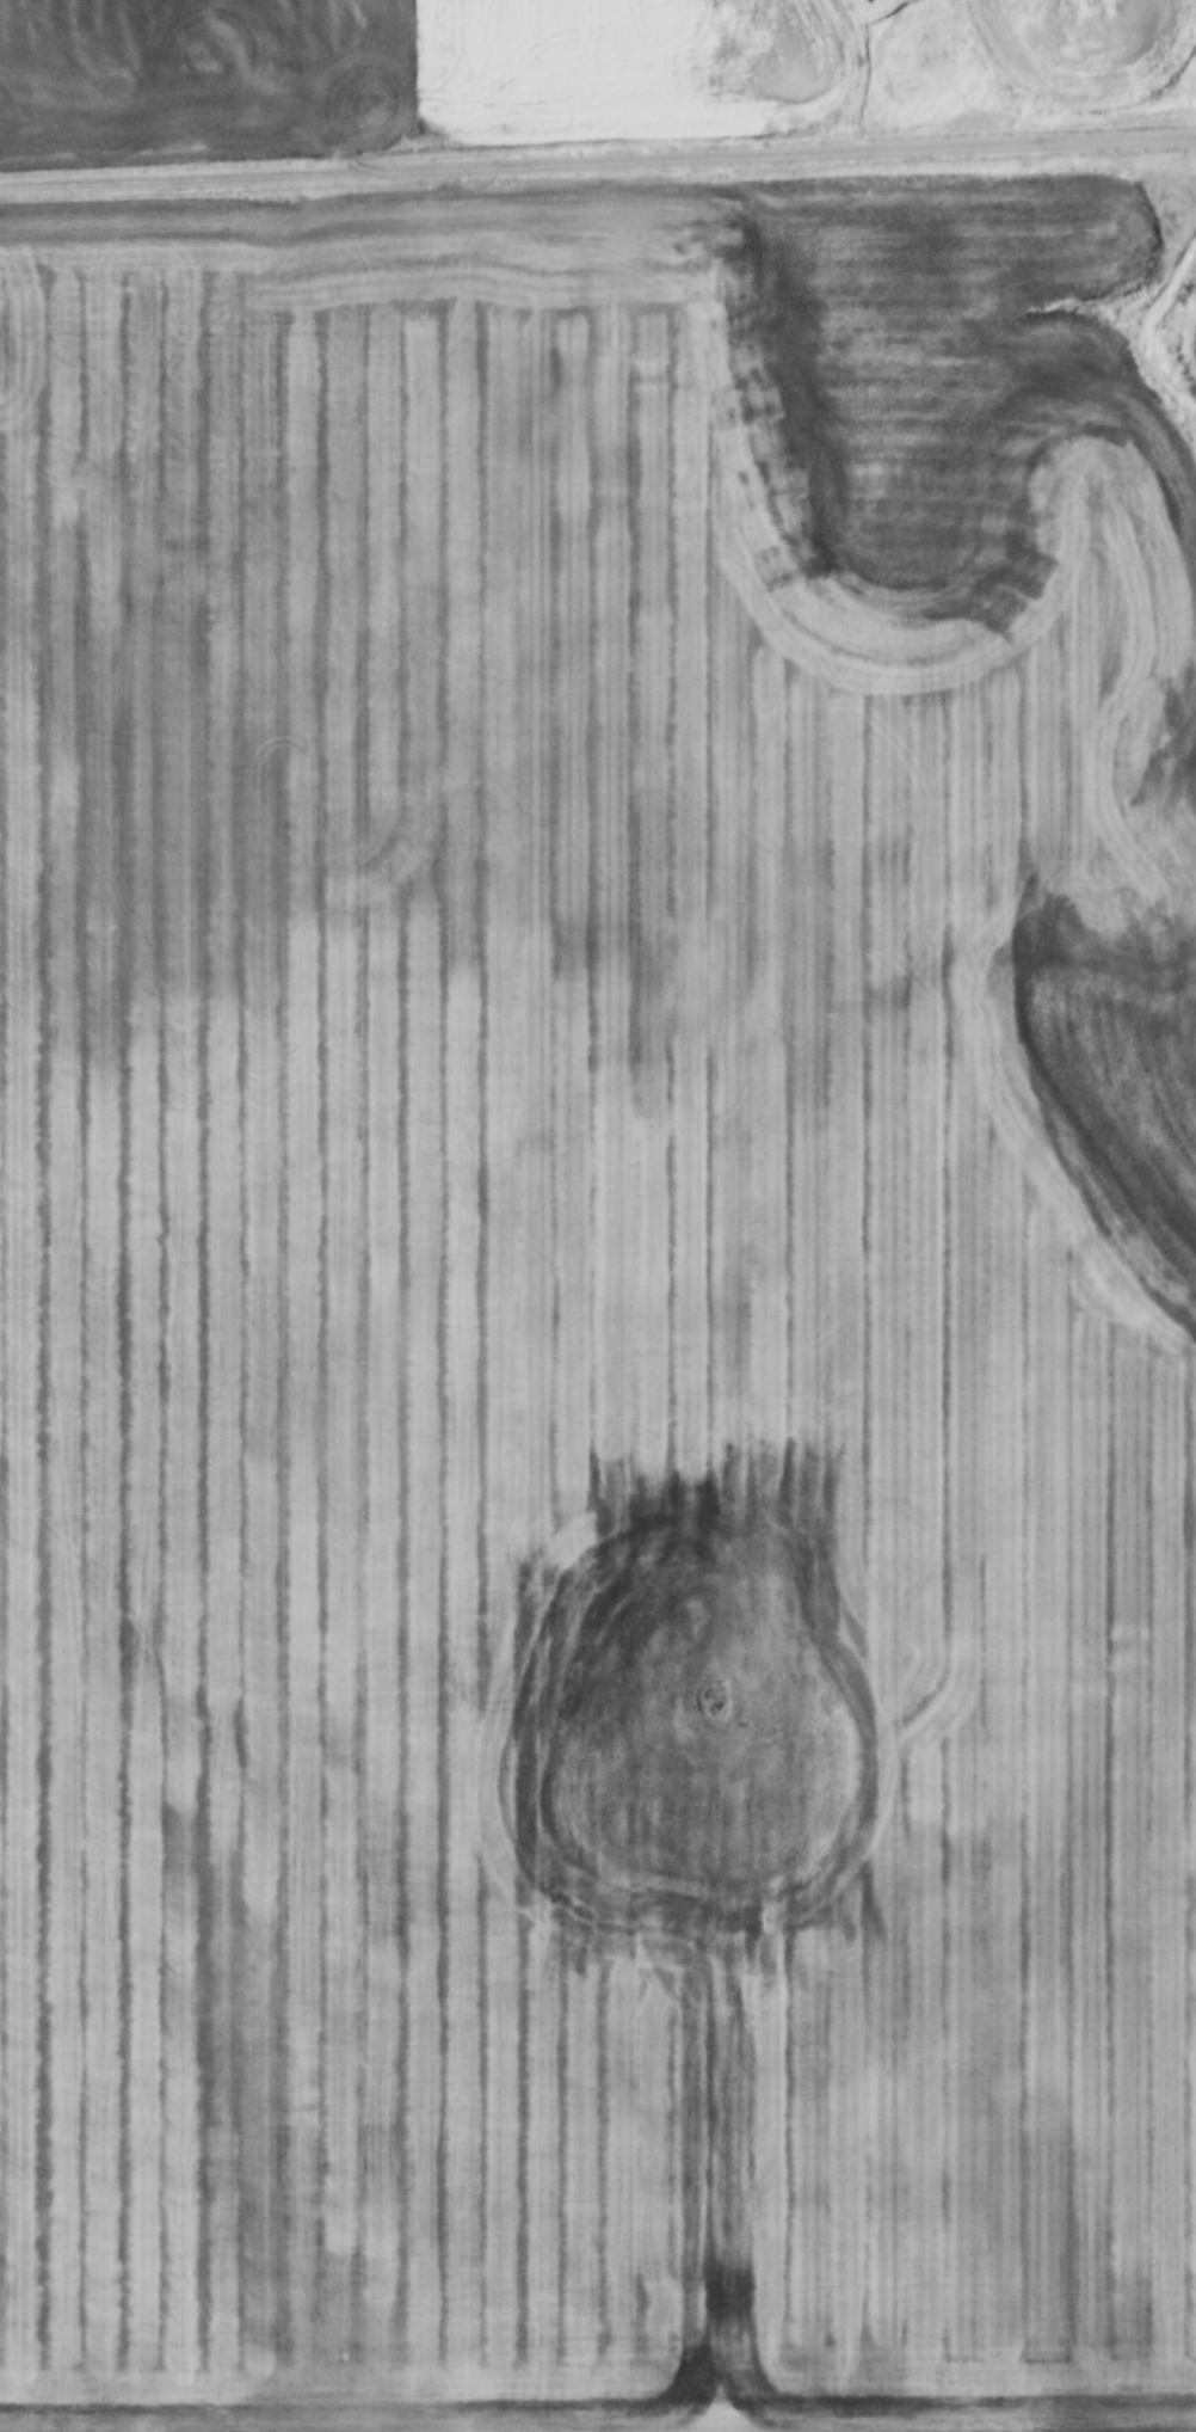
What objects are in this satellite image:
road: (597, 155)

